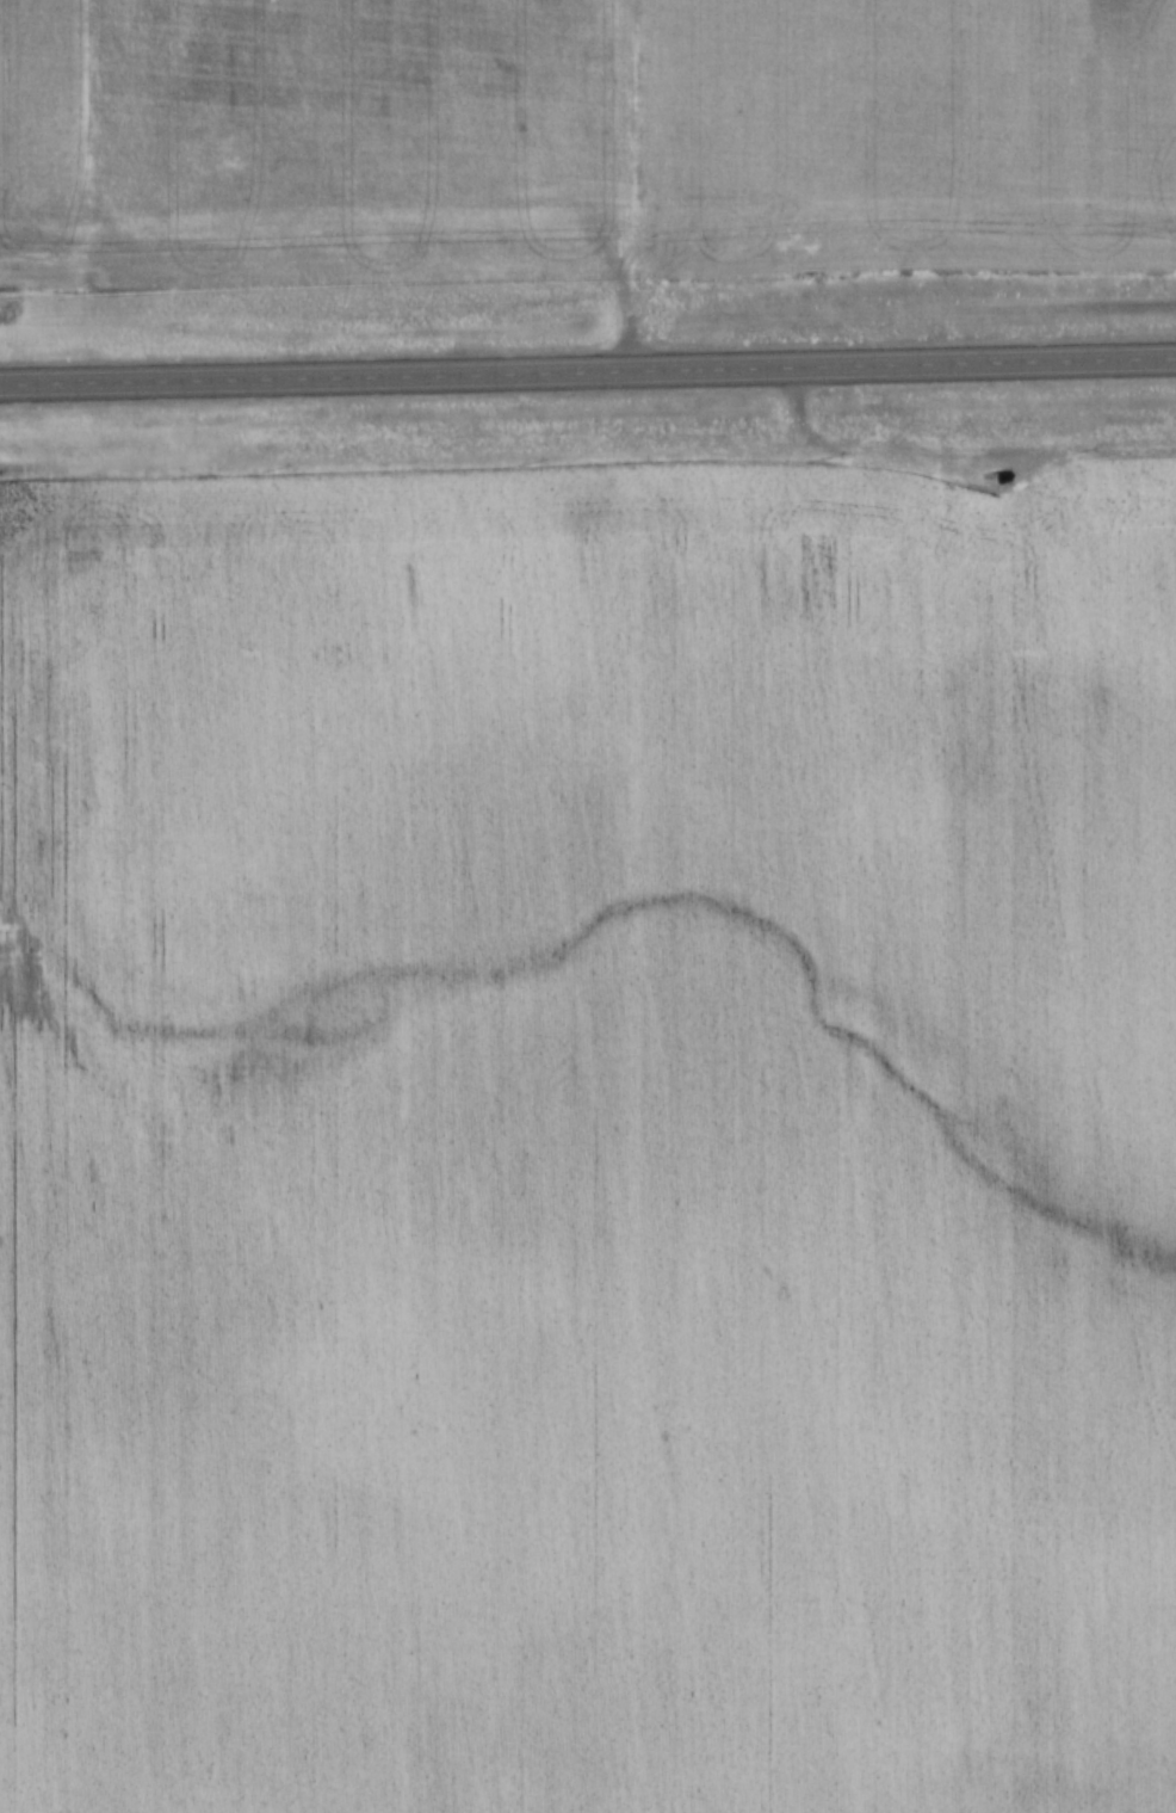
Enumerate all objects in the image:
road: (587, 390)

